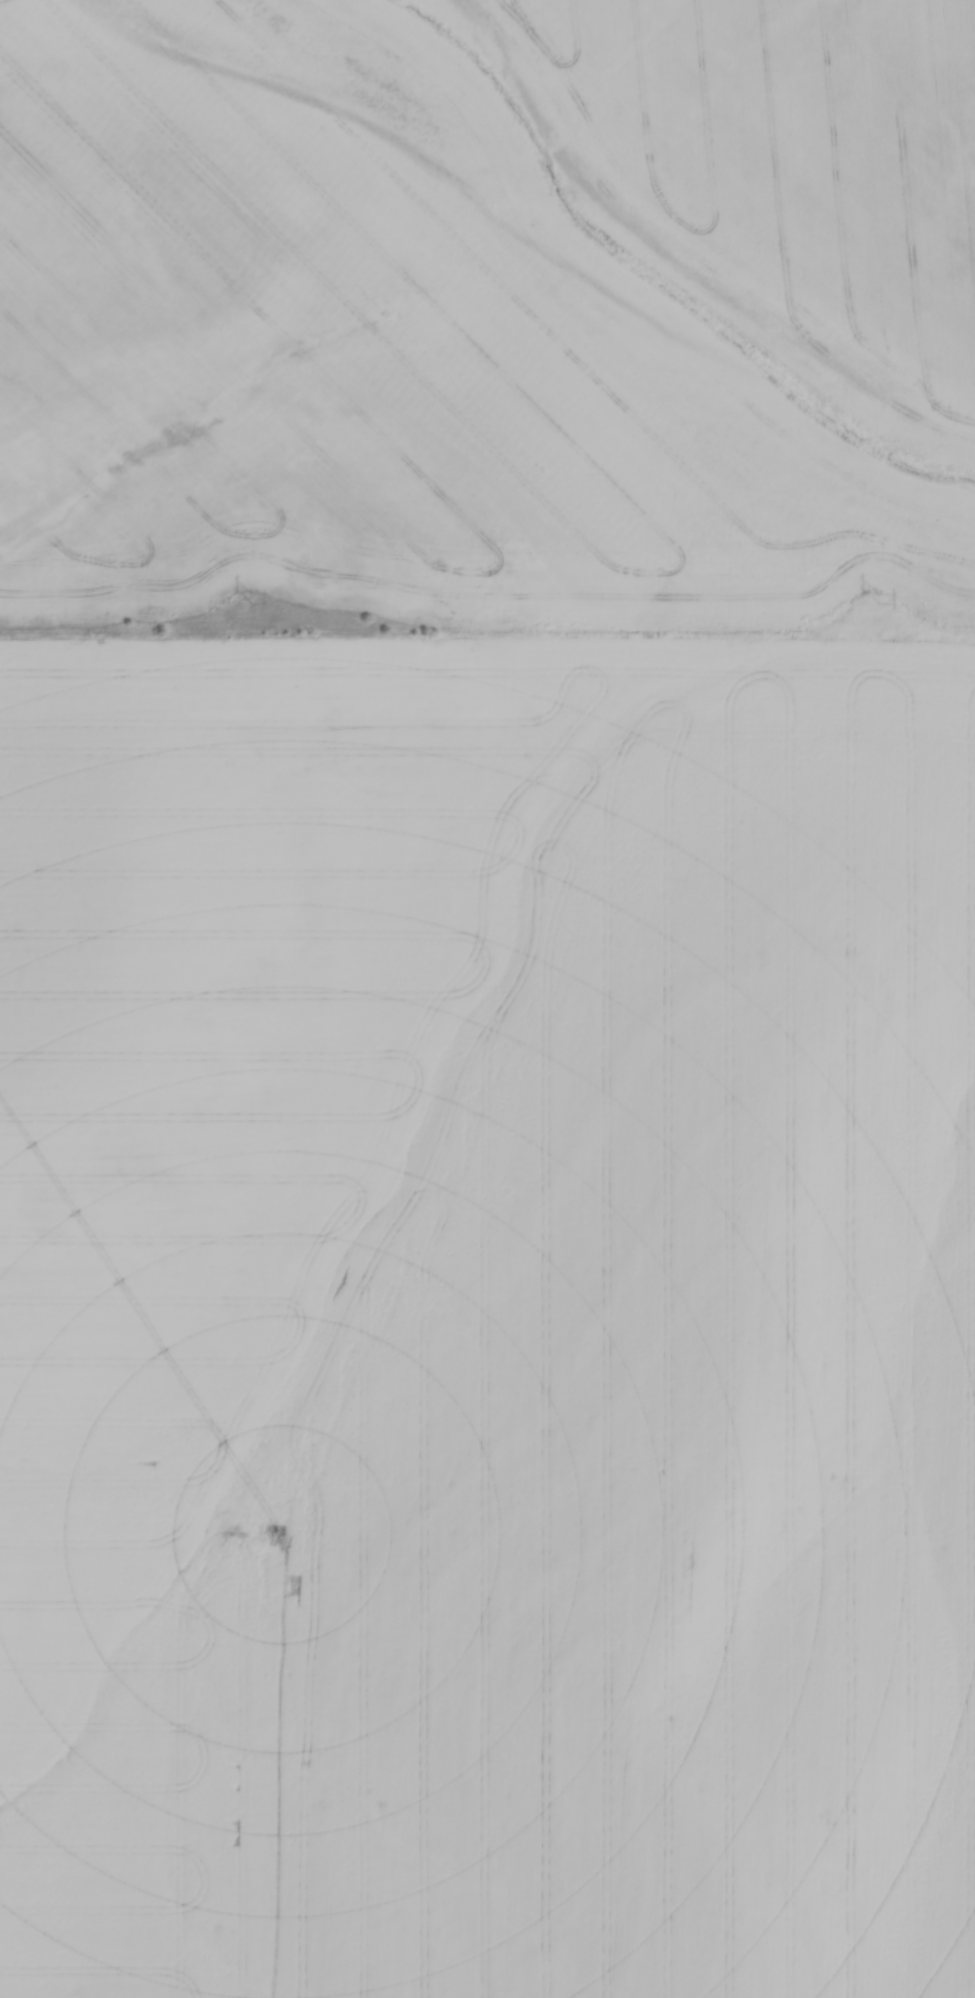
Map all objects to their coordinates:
power tower: (249, 594)
power tower: (876, 595)

